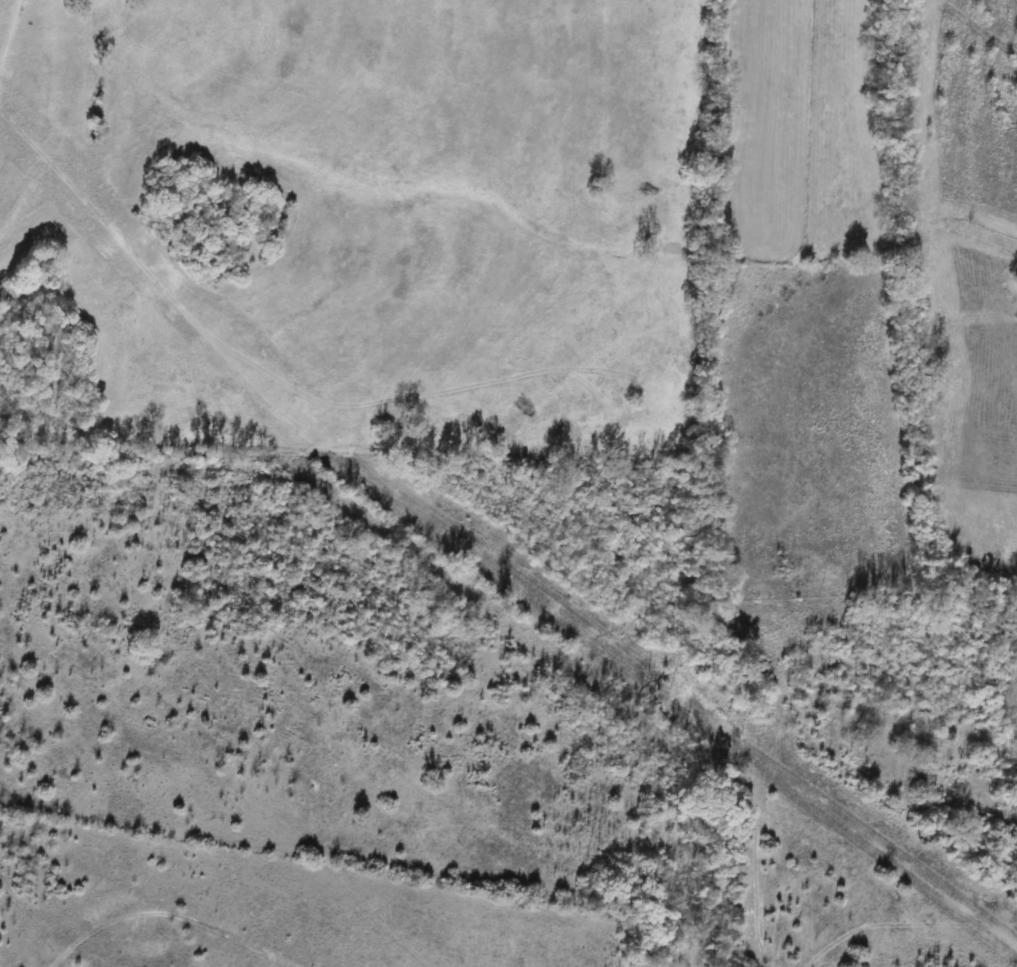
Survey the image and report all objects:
airport runway: (775, 130)

